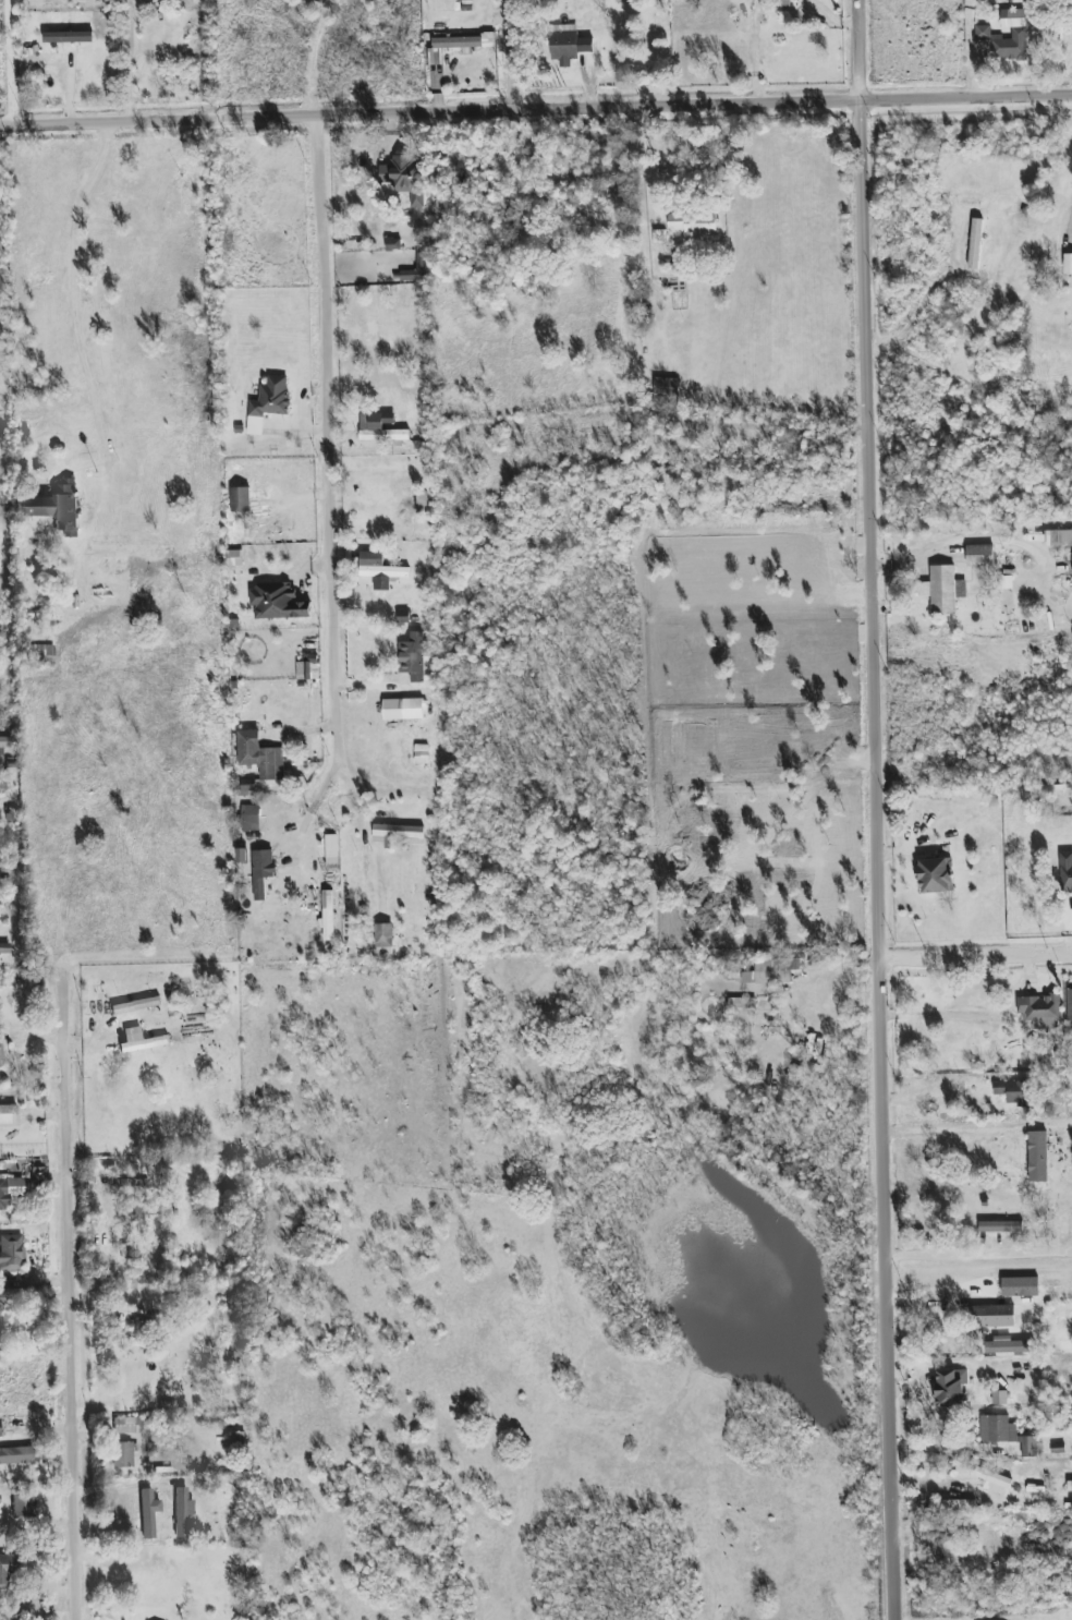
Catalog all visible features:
building: (1006, 36)
building: (69, 37)
building: (465, 41)
building: (569, 44)
road: (970, 48)
road: (692, 51)
road: (524, 53)
road: (324, 56)
road: (13, 61)
road: (130, 61)
road: (535, 106)
road: (648, 159)
building: (405, 178)
road: (1071, 214)
building: (693, 223)
building: (975, 244)
building: (1068, 264)
building: (417, 269)
road: (77, 295)
building: (666, 386)
building: (268, 402)
building: (382, 428)
road: (327, 436)
building: (241, 499)
building: (54, 507)
building: (1058, 537)
road: (960, 543)
building: (980, 555)
building: (234, 558)
building: (380, 570)
building: (943, 589)
building: (278, 602)
building: (404, 616)
building: (41, 655)
building: (413, 656)
building: (308, 667)
building: (403, 709)
building: (4, 742)
building: (421, 753)
building: (260, 755)
road: (882, 809)
building: (251, 818)
building: (398, 835)
building: (331, 846)
building: (242, 856)
building: (263, 871)
building: (1065, 871)
building: (936, 875)
building: (328, 916)
building: (383, 939)
road: (978, 951)
building: (770, 971)
building: (1069, 1002)
building: (741, 1003)
building: (135, 1005)
building: (1040, 1011)
road: (936, 1014)
building: (141, 1040)
building: (0, 1059)
building: (1012, 1091)
building: (8, 1115)
road: (949, 1132)
building: (1037, 1157)
building: (10, 1190)
building: (133, 1214)
building: (1000, 1226)
building: (11, 1253)
road: (982, 1255)
building: (1020, 1286)
road: (65, 1303)
building: (991, 1316)
building: (1009, 1346)
road: (980, 1375)
building: (951, 1388)
building: (999, 1398)
building: (133, 1425)
building: (0, 1427)
building: (1008, 1435)
road: (942, 1449)
building: (123, 1454)
building: (16, 1455)
building: (992, 1480)
building: (1070, 1485)
road: (121, 1486)
building: (958, 1503)
building: (24, 1506)
building: (147, 1508)
building: (182, 1509)
building: (9, 1568)

